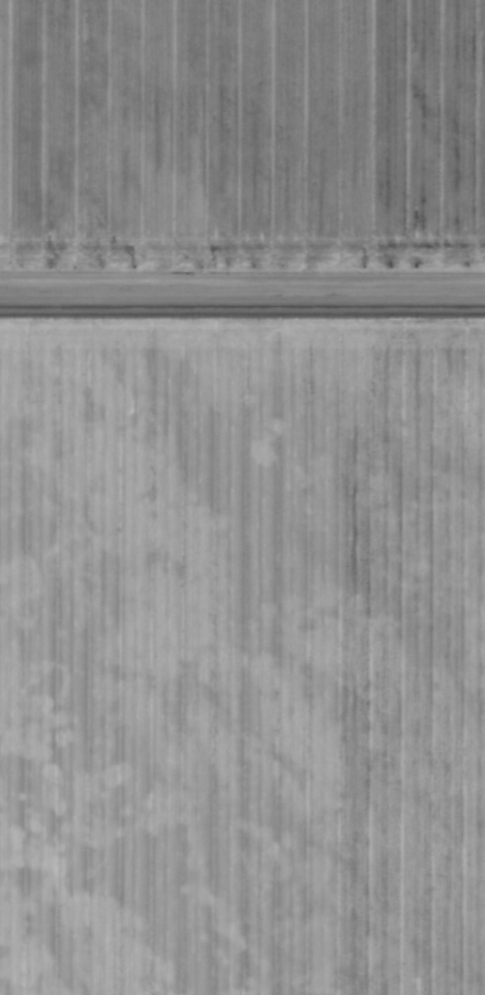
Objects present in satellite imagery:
road: (242, 291)

